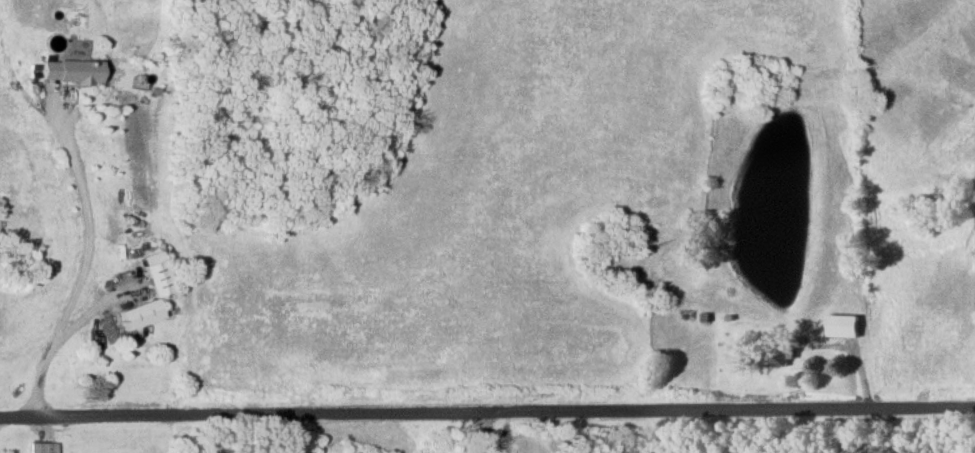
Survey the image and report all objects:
building: (67, 69)
road: (88, 233)
building: (157, 277)
building: (842, 325)
road: (64, 333)
building: (779, 355)
road: (487, 409)
road: (490, 431)
building: (42, 447)

